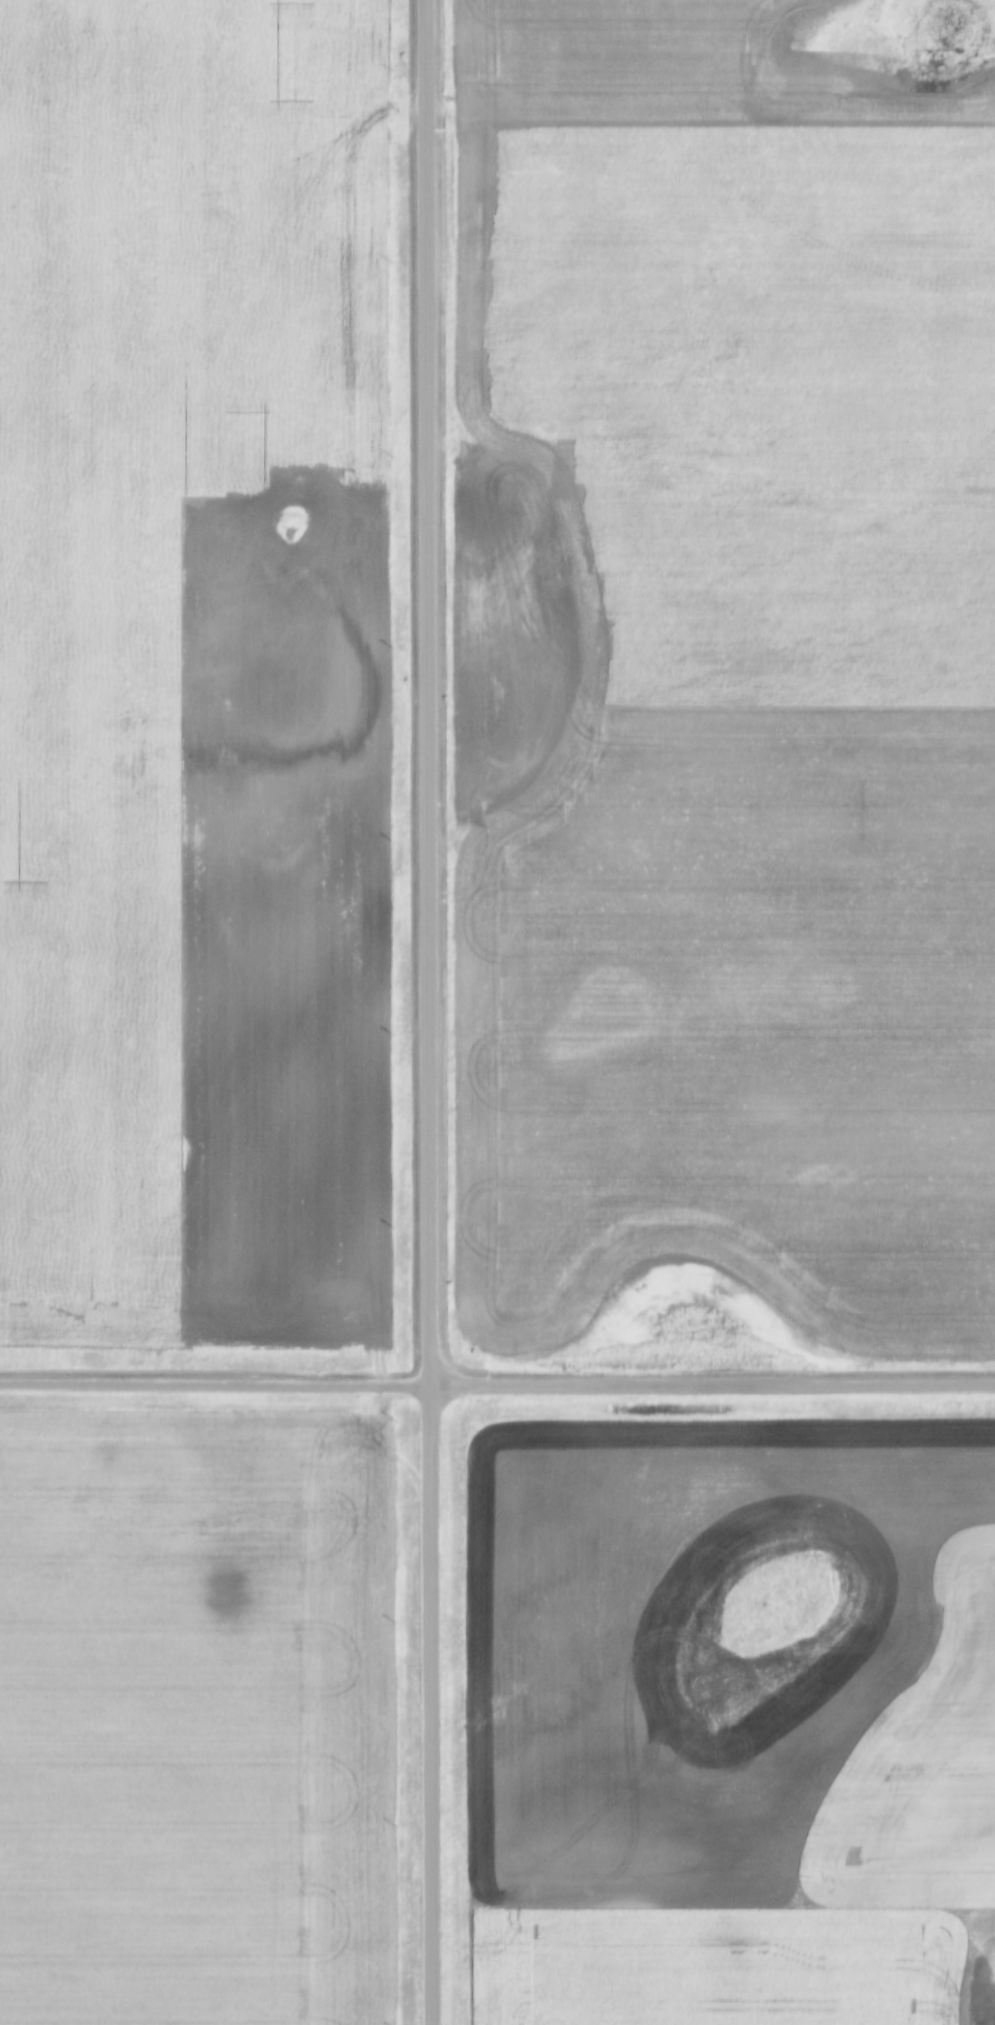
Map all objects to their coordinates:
road: (427, 1012)
road: (214, 1385)
road: (711, 1388)

